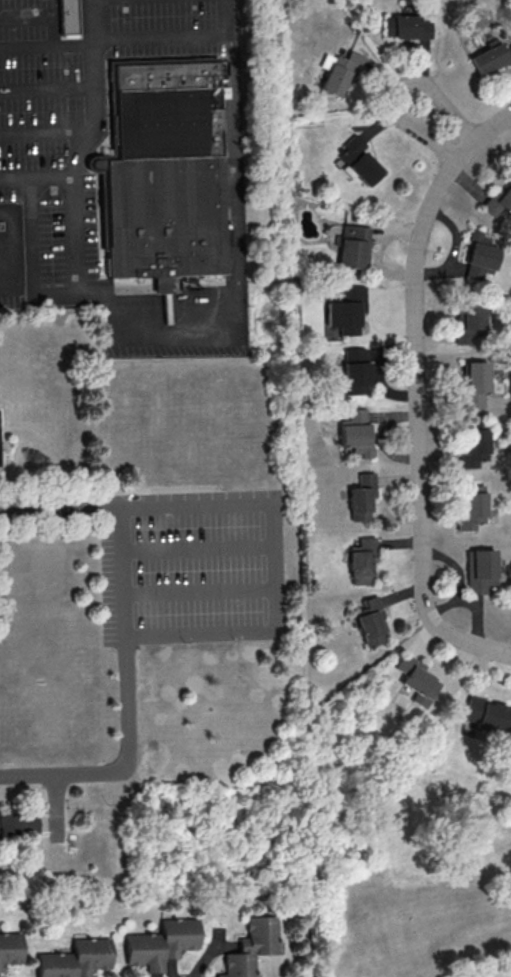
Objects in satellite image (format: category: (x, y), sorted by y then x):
road: (225, 16)
building: (70, 17)
building: (407, 26)
road: (98, 40)
road: (25, 46)
building: (491, 57)
building: (339, 71)
road: (399, 86)
road: (47, 90)
parking lot: (76, 120)
road: (46, 134)
road: (82, 144)
road: (237, 159)
building: (358, 161)
building: (165, 171)
road: (15, 178)
building: (500, 200)
road: (31, 213)
building: (353, 246)
road: (11, 248)
building: (479, 255)
road: (97, 290)
parking lot: (11, 293)
building: (346, 309)
road: (237, 312)
building: (468, 323)
road: (173, 337)
parking lot: (176, 341)
building: (355, 370)
building: (475, 383)
road: (417, 393)
building: (356, 432)
building: (474, 445)
building: (361, 496)
road: (62, 507)
building: (472, 507)
road: (201, 548)
building: (362, 561)
road: (277, 565)
road: (126, 570)
building: (479, 570)
road: (202, 590)
building: (370, 621)
building: (418, 681)
building: (488, 715)
road: (126, 764)
building: (17, 825)
building: (161, 943)
building: (251, 946)
building: (10, 948)
building: (75, 959)

